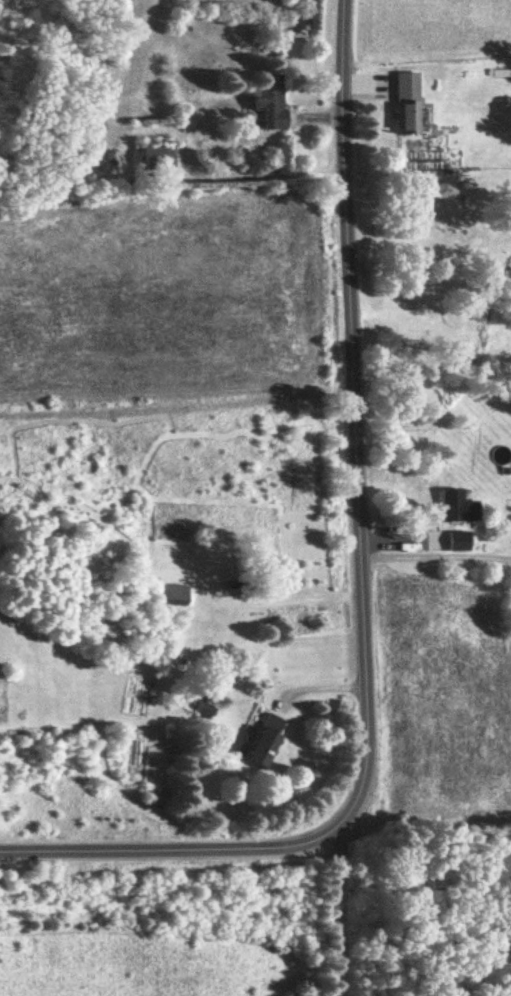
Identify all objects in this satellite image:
building: (502, 72)
building: (271, 100)
building: (408, 103)
building: (158, 158)
road: (350, 410)
building: (459, 505)
road: (433, 559)
building: (174, 594)
crop: (447, 701)
building: (268, 739)
road: (179, 850)

